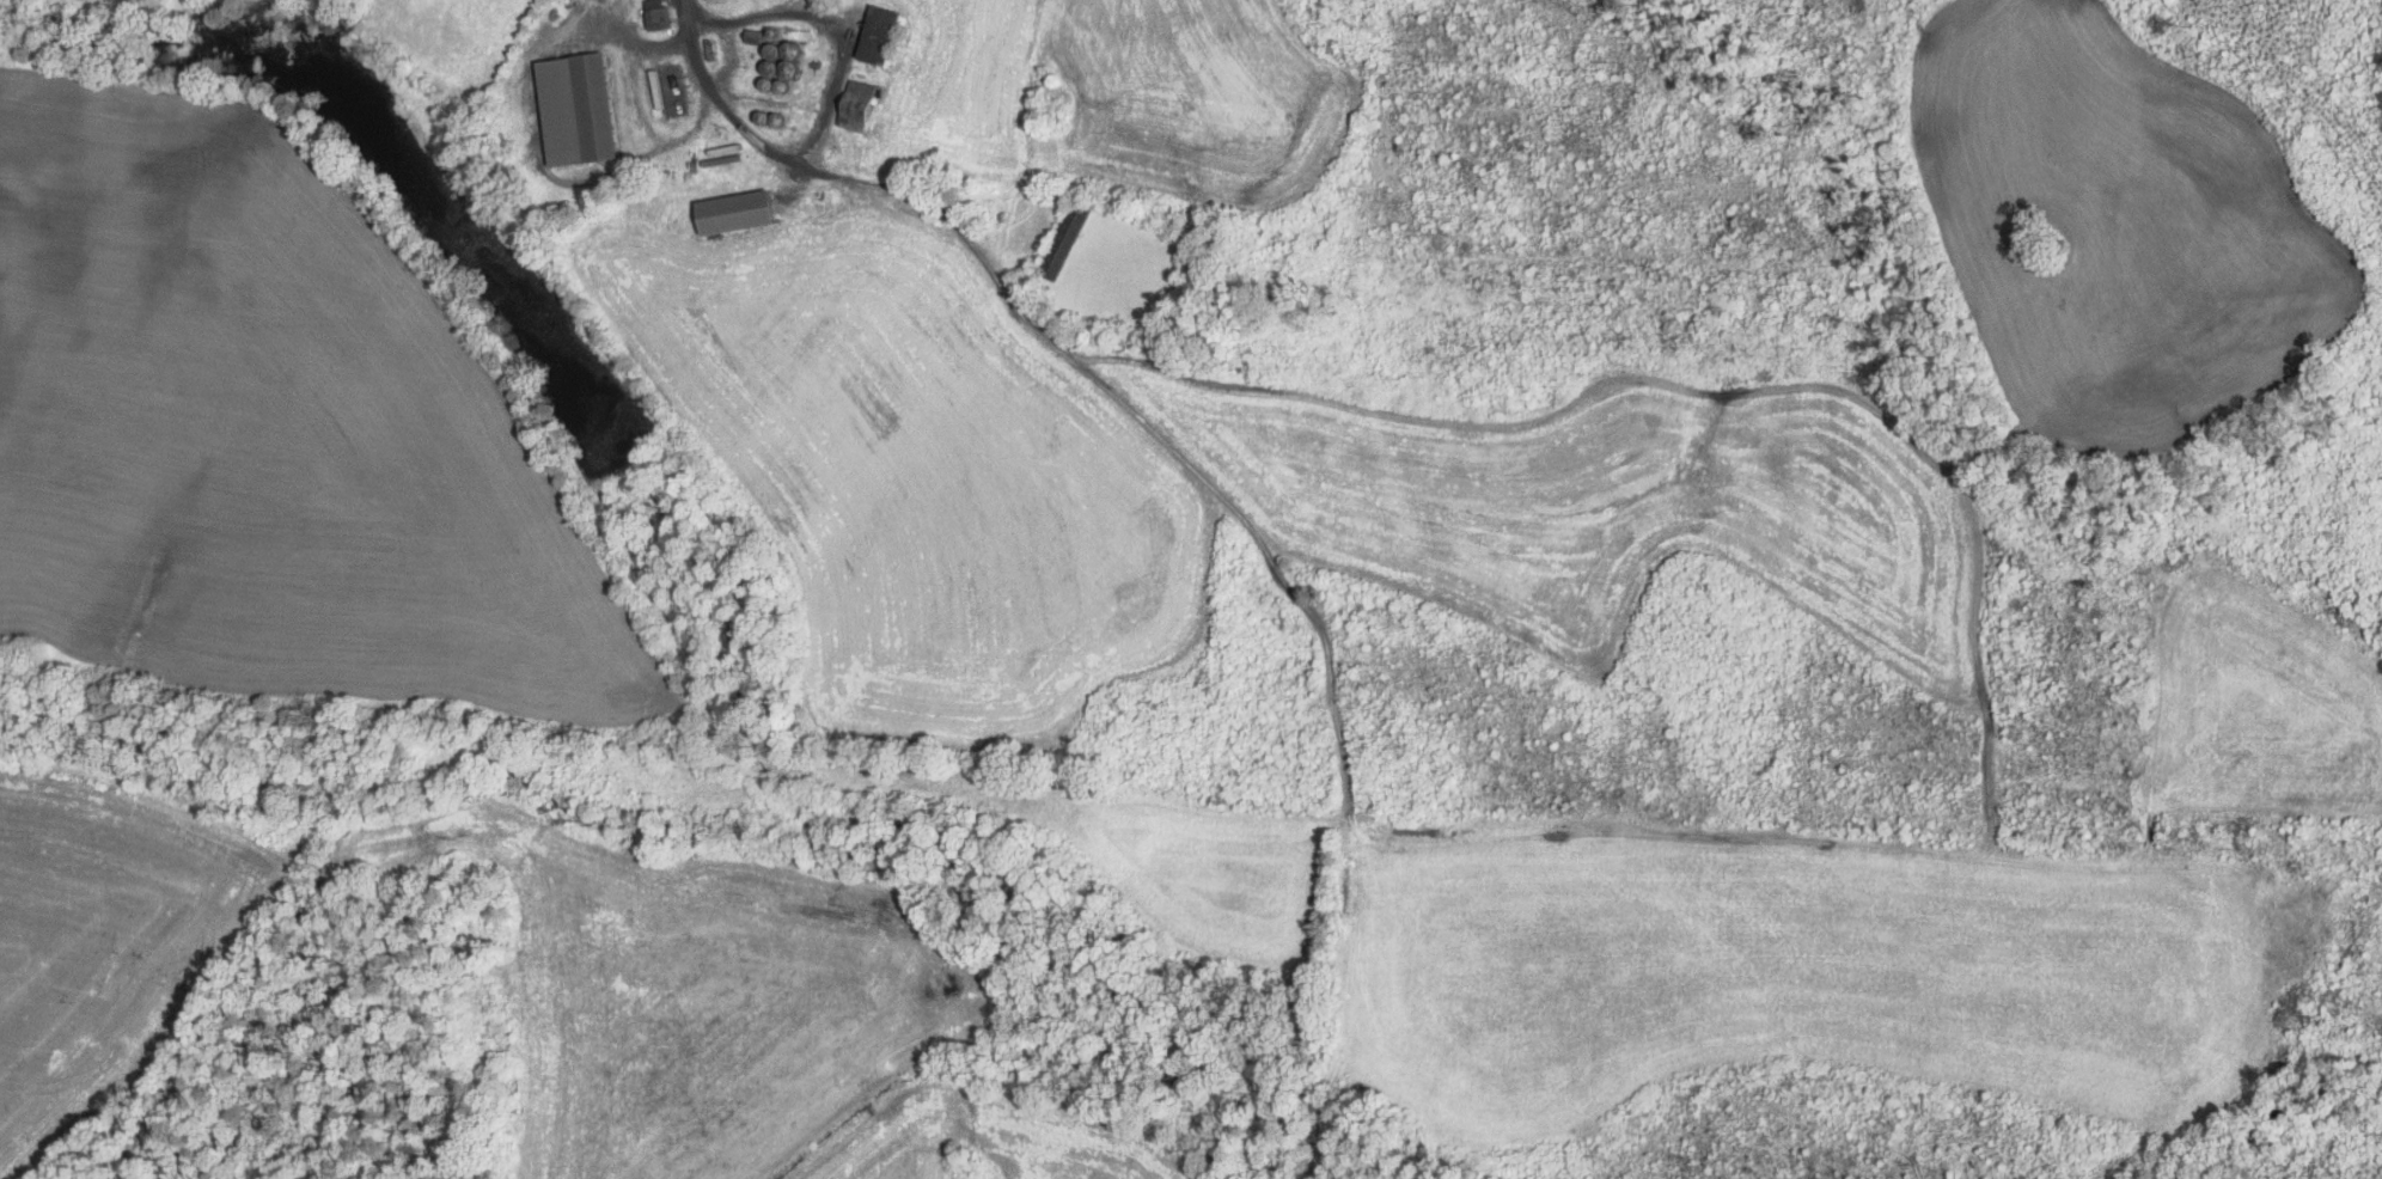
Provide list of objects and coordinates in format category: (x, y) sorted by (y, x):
building: (654, 13)
building: (874, 33)
building: (775, 60)
building: (662, 88)
building: (854, 105)
building: (573, 108)
road: (765, 146)
building: (731, 212)
building: (1058, 244)
road: (1302, 606)
road: (151, 799)

